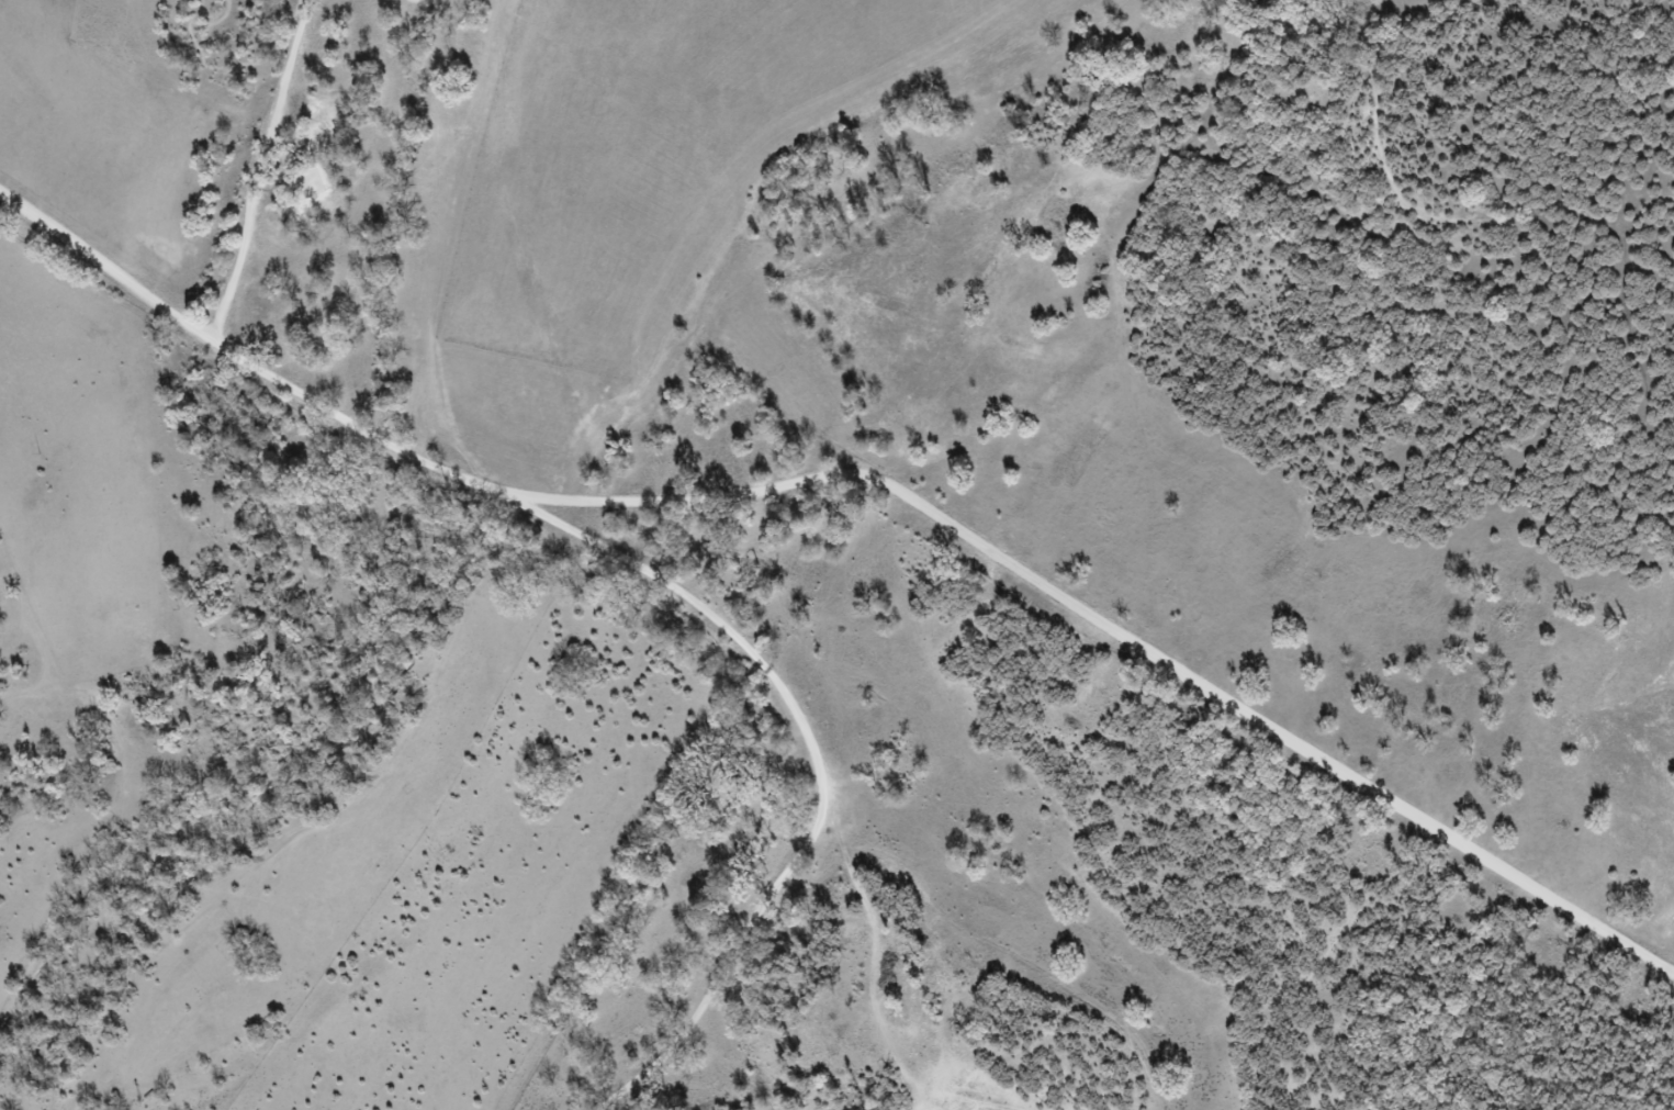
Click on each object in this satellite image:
road: (259, 168)
road: (106, 274)
road: (235, 459)
road: (977, 543)
road: (821, 772)

